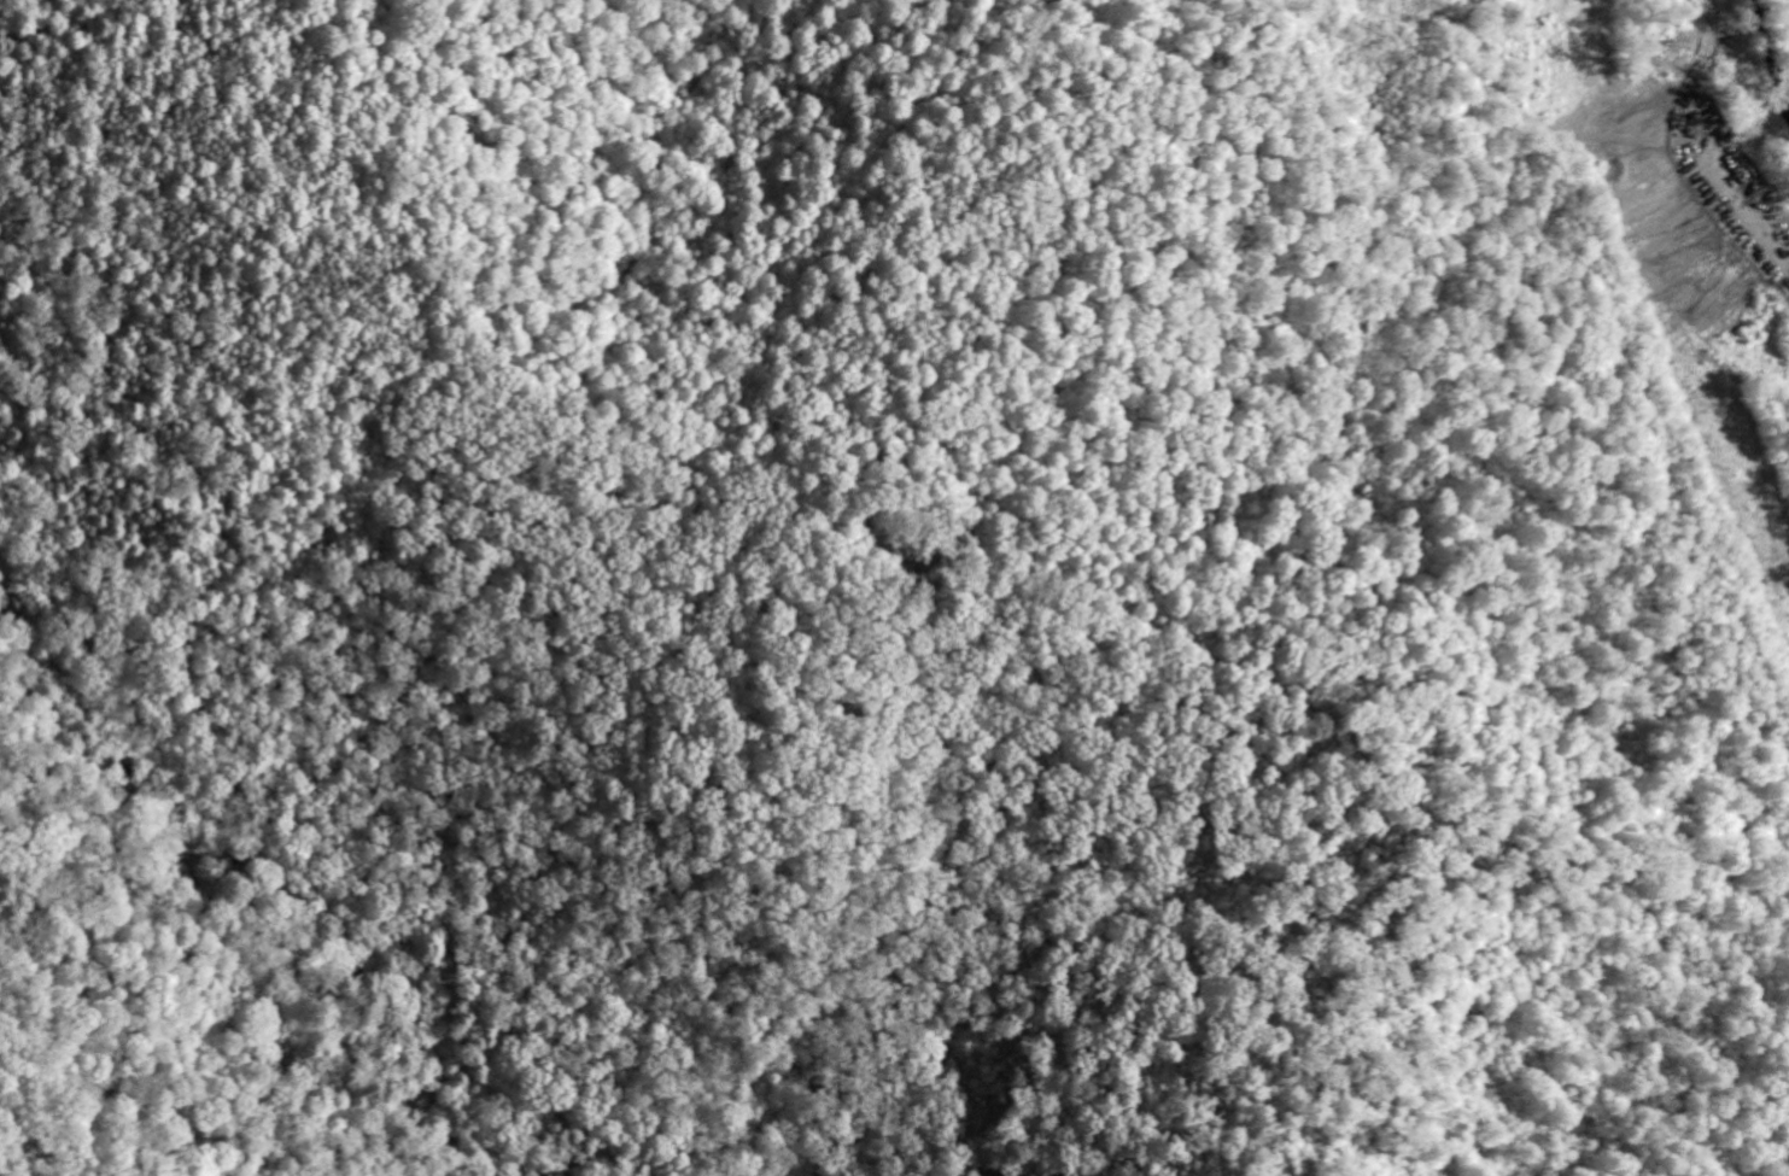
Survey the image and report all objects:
road: (1753, 220)

